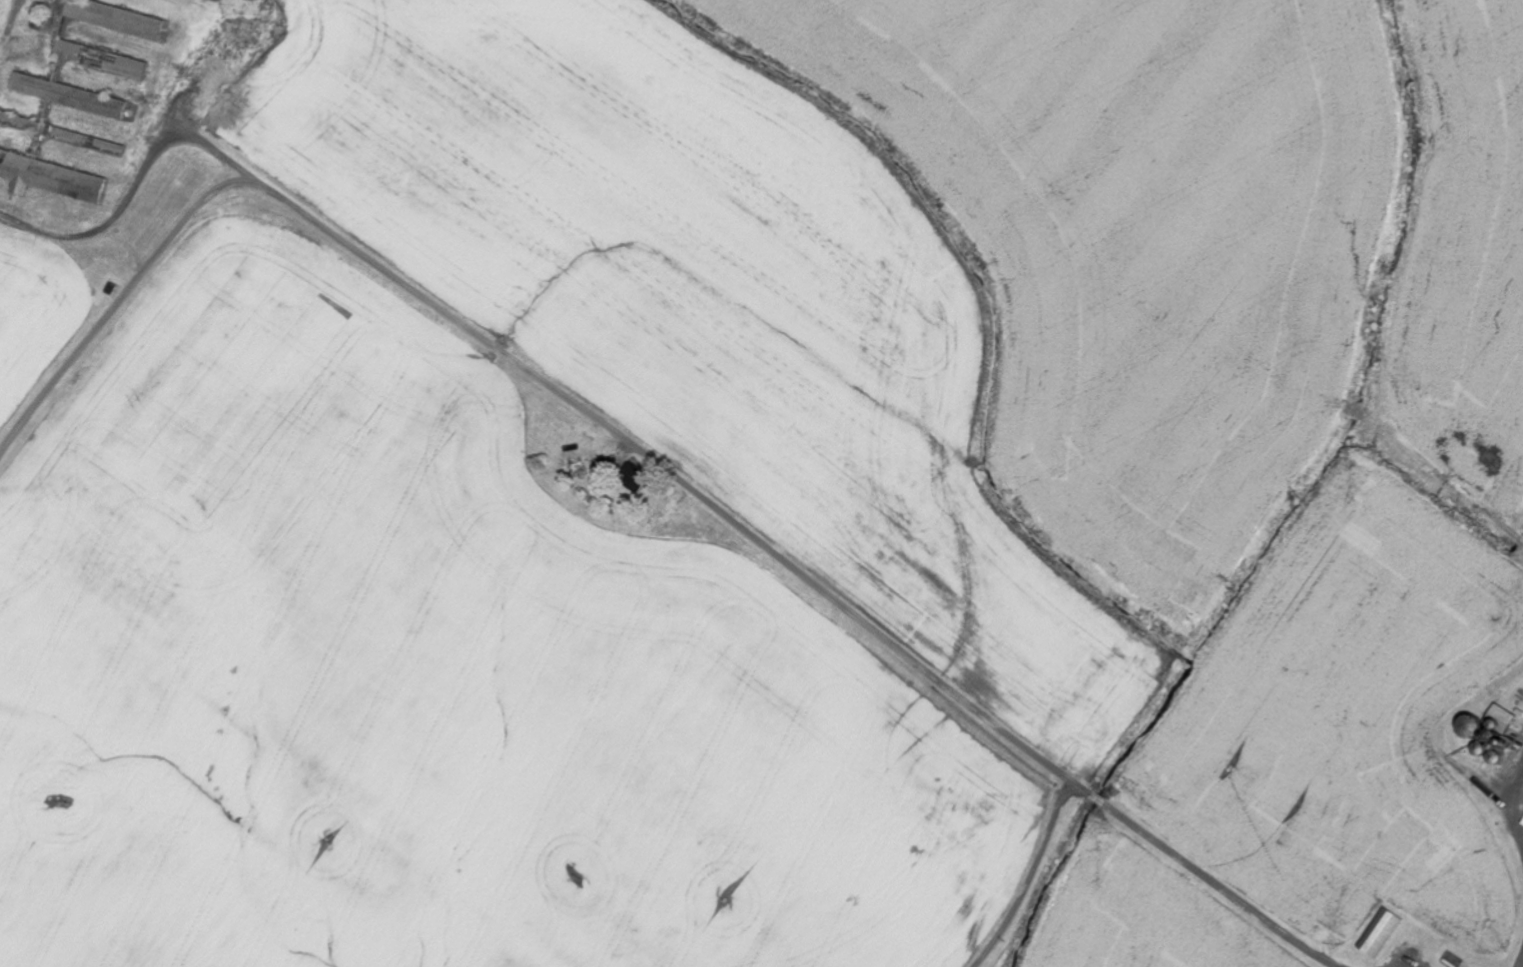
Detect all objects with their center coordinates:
building: (233, 0)
building: (117, 19)
building: (102, 60)
building: (70, 97)
building: (51, 178)
building: (636, 480)
road: (855, 619)
building: (1379, 935)

